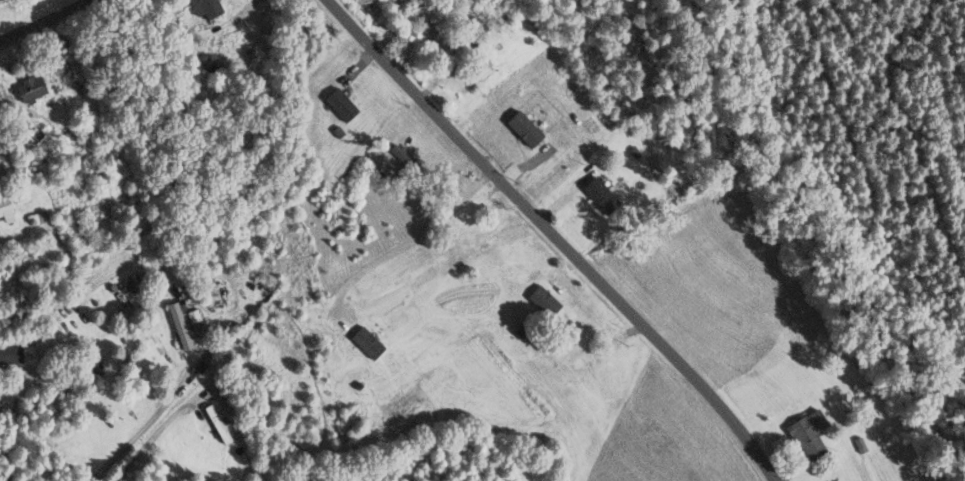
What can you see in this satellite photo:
building: (207, 9)
road: (46, 20)
building: (514, 27)
building: (437, 41)
building: (30, 90)
building: (341, 105)
building: (529, 128)
building: (405, 150)
building: (600, 196)
building: (5, 209)
road: (558, 237)
road: (402, 243)
building: (544, 302)
building: (180, 326)
building: (367, 343)
building: (10, 355)
building: (410, 402)
building: (217, 424)
building: (808, 433)

